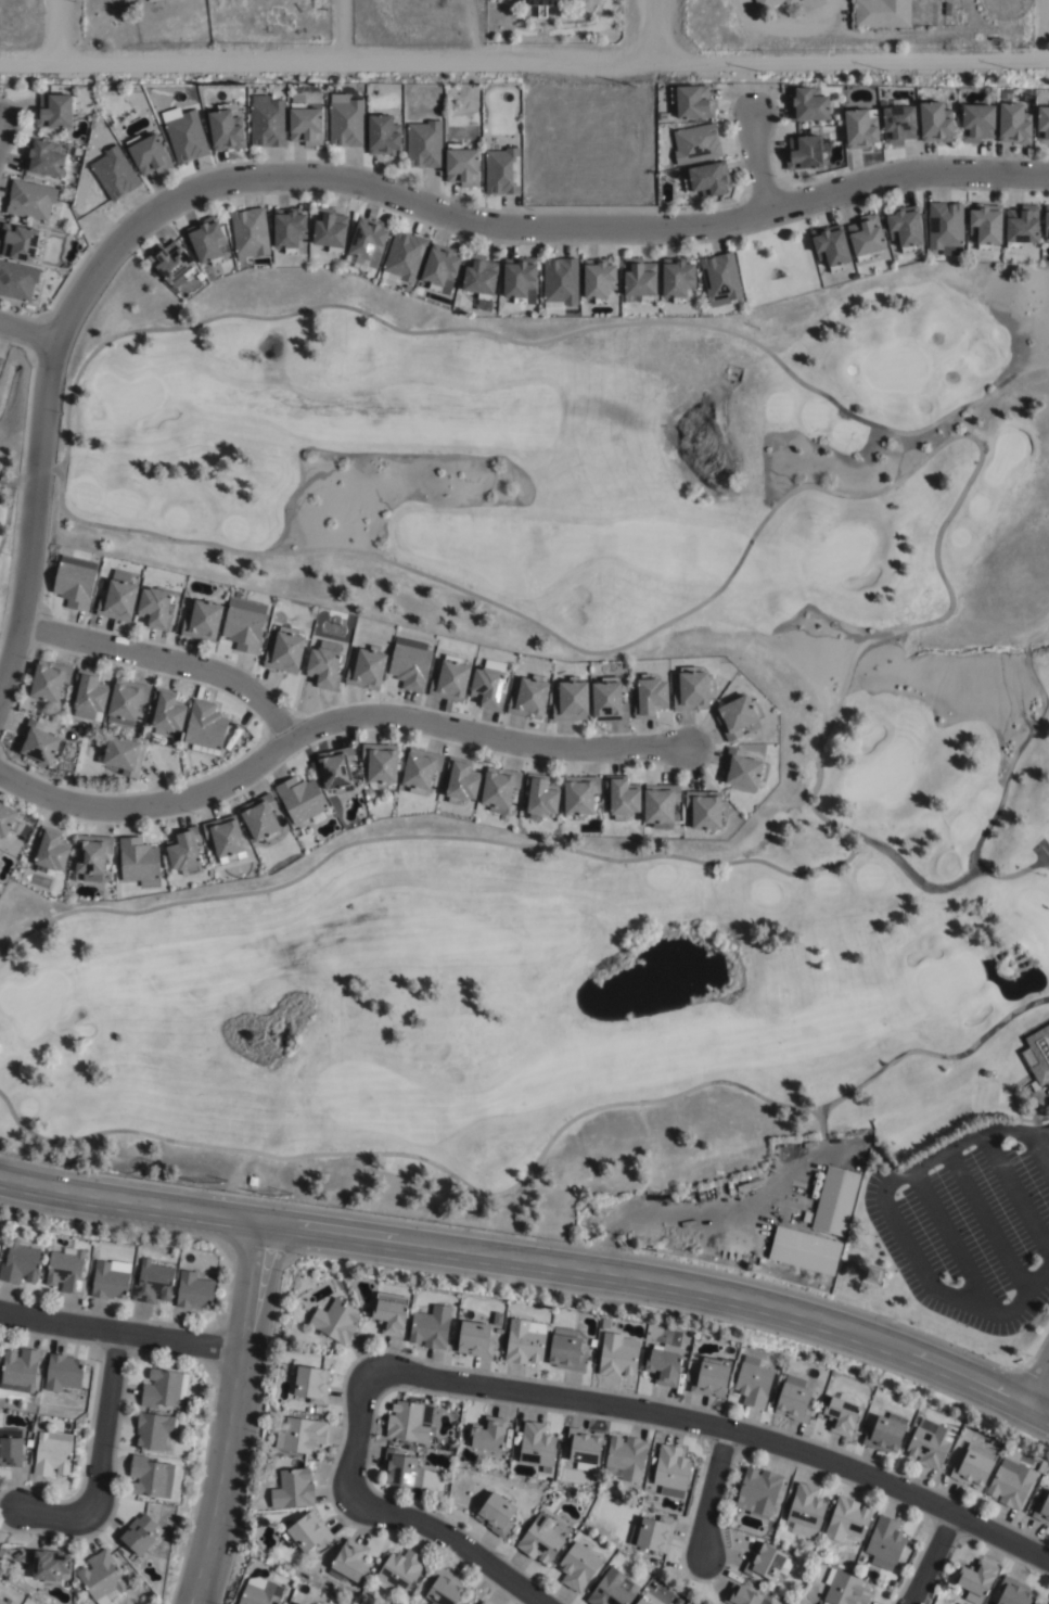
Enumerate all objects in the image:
building: (126, 0)
building: (151, 0)
building: (773, 3)
building: (543, 4)
building: (882, 13)
road: (335, 27)
road: (54, 29)
road: (655, 29)
road: (524, 55)
building: (692, 100)
building: (806, 104)
building: (54, 110)
building: (305, 120)
building: (346, 120)
building: (898, 122)
building: (935, 122)
building: (977, 122)
building: (268, 123)
building: (1013, 123)
building: (1042, 125)
building: (225, 128)
building: (859, 128)
building: (383, 135)
building: (187, 137)
building: (696, 142)
building: (423, 143)
building: (803, 151)
building: (149, 153)
building: (43, 158)
road: (760, 162)
building: (461, 164)
building: (502, 171)
building: (114, 173)
building: (709, 178)
road: (345, 184)
building: (29, 200)
building: (1047, 222)
building: (986, 225)
building: (945, 227)
building: (1023, 227)
building: (904, 228)
building: (329, 229)
building: (290, 230)
building: (250, 233)
building: (865, 237)
building: (209, 242)
building: (368, 242)
building: (20, 243)
building: (831, 247)
building: (404, 255)
building: (172, 264)
building: (440, 268)
building: (479, 276)
building: (640, 278)
building: (678, 279)
building: (720, 279)
building: (16, 280)
building: (520, 281)
building: (599, 281)
building: (560, 282)
road: (28, 327)
building: (1, 362)
park: (15, 525)
building: (75, 582)
building: (117, 602)
building: (155, 609)
building: (203, 622)
building: (245, 624)
building: (285, 652)
road: (166, 663)
building: (410, 664)
building: (324, 670)
building: (366, 671)
building: (49, 682)
building: (449, 682)
building: (488, 689)
building: (692, 690)
building: (90, 693)
building: (650, 698)
building: (127, 700)
building: (528, 701)
building: (571, 701)
building: (609, 702)
building: (167, 712)
building: (738, 717)
building: (205, 726)
road: (335, 726)
building: (38, 746)
building: (124, 756)
building: (382, 764)
building: (337, 769)
building: (420, 771)
park: (911, 771)
building: (744, 772)
building: (460, 782)
building: (499, 791)
building: (579, 797)
building: (541, 798)
building: (623, 798)
building: (302, 801)
building: (661, 805)
building: (705, 811)
building: (260, 818)
building: (8, 823)
building: (225, 839)
building: (183, 849)
building: (51, 851)
building: (91, 858)
building: (138, 862)
building: (0, 864)
building: (1037, 1056)
road: (1007, 1131)
road: (1040, 1133)
road: (962, 1142)
road: (1040, 1150)
road: (929, 1160)
road: (898, 1179)
road: (1015, 1195)
building: (834, 1199)
building: (806, 1217)
road: (986, 1221)
parking lot: (972, 1222)
road: (951, 1240)
building: (803, 1249)
road: (534, 1259)
building: (20, 1261)
road: (919, 1266)
building: (66, 1269)
building: (110, 1278)
building: (152, 1281)
building: (194, 1289)
road: (1023, 1296)
building: (389, 1312)
building: (334, 1319)
building: (431, 1325)
road: (121, 1334)
building: (474, 1337)
building: (524, 1339)
building: (565, 1350)
building: (617, 1353)
building: (664, 1363)
building: (18, 1369)
building: (62, 1371)
building: (709, 1378)
building: (753, 1379)
building: (310, 1382)
road: (1038, 1386)
building: (164, 1387)
building: (792, 1401)
road: (235, 1411)
building: (840, 1414)
building: (407, 1421)
road: (719, 1427)
building: (154, 1430)
building: (885, 1431)
building: (299, 1434)
building: (488, 1434)
building: (929, 1442)
building: (536, 1443)
building: (10, 1447)
building: (584, 1448)
building: (52, 1452)
road: (102, 1454)
building: (625, 1456)
building: (400, 1467)
building: (972, 1468)
building: (670, 1469)
building: (150, 1476)
building: (594, 1481)
building: (1011, 1482)
building: (292, 1488)
building: (757, 1491)
road: (711, 1493)
building: (555, 1494)
building: (648, 1497)
building: (805, 1510)
building: (1041, 1511)
building: (495, 1513)
road: (398, 1516)
building: (846, 1520)
building: (515, 1529)
building: (140, 1532)
building: (305, 1532)
building: (653, 1532)
building: (539, 1539)
building: (884, 1542)
building: (1, 1551)
road: (932, 1558)
building: (347, 1561)
building: (766, 1562)
building: (49, 1565)
building: (578, 1566)
building: (398, 1570)
building: (100, 1576)
building: (976, 1580)
building: (613, 1589)
building: (844, 1589)
building: (444, 1590)
building: (260, 1591)
building: (0, 1592)
building: (1014, 1594)
building: (742, 1595)
building: (643, 1600)
building: (7, 1601)
building: (482, 1602)
building: (1039, 1602)
building: (298, 1603)
building: (465, 1603)
building: (488, 1603)
building: (1048, 1603)

